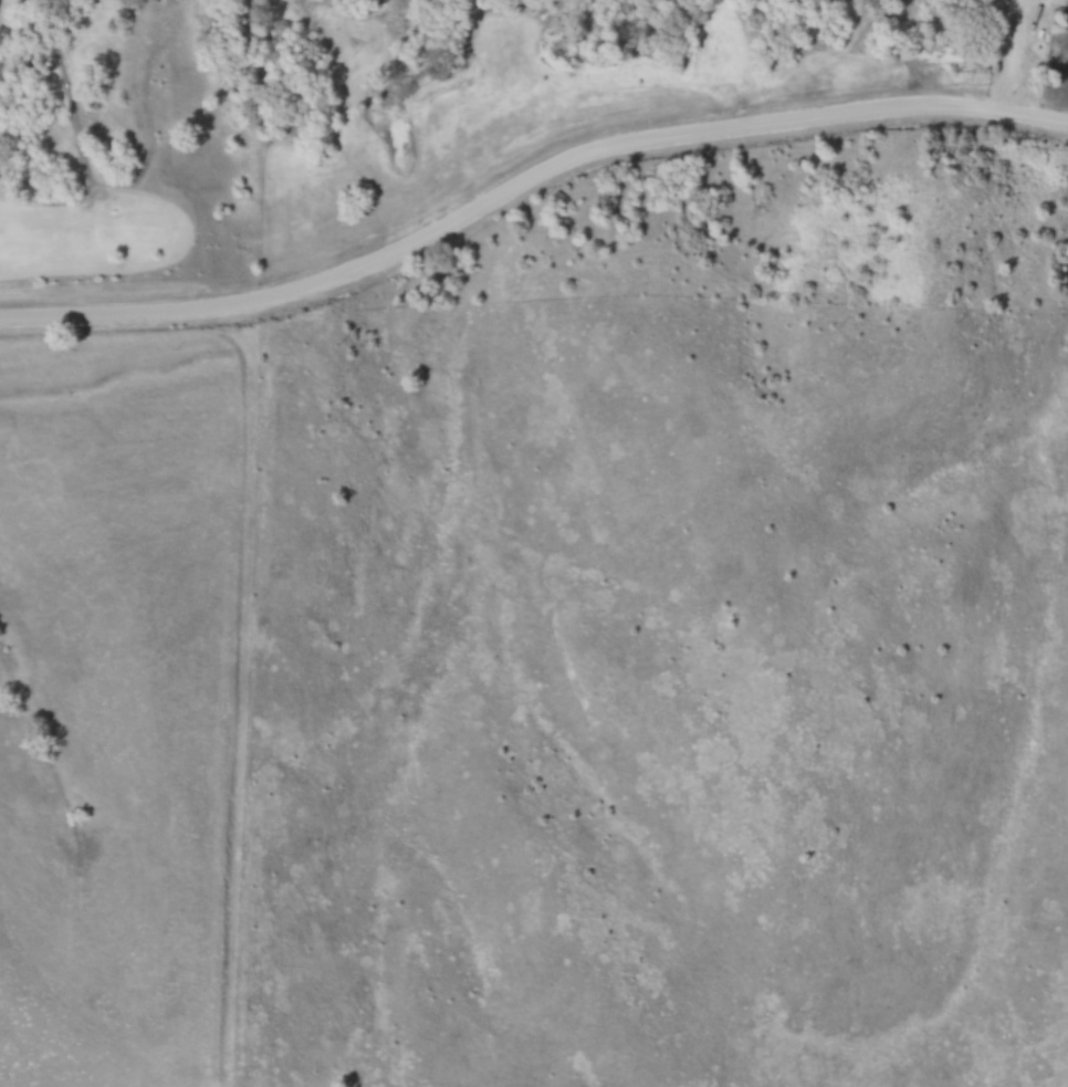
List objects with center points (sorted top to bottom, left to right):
road: (1013, 54)
road: (524, 175)

